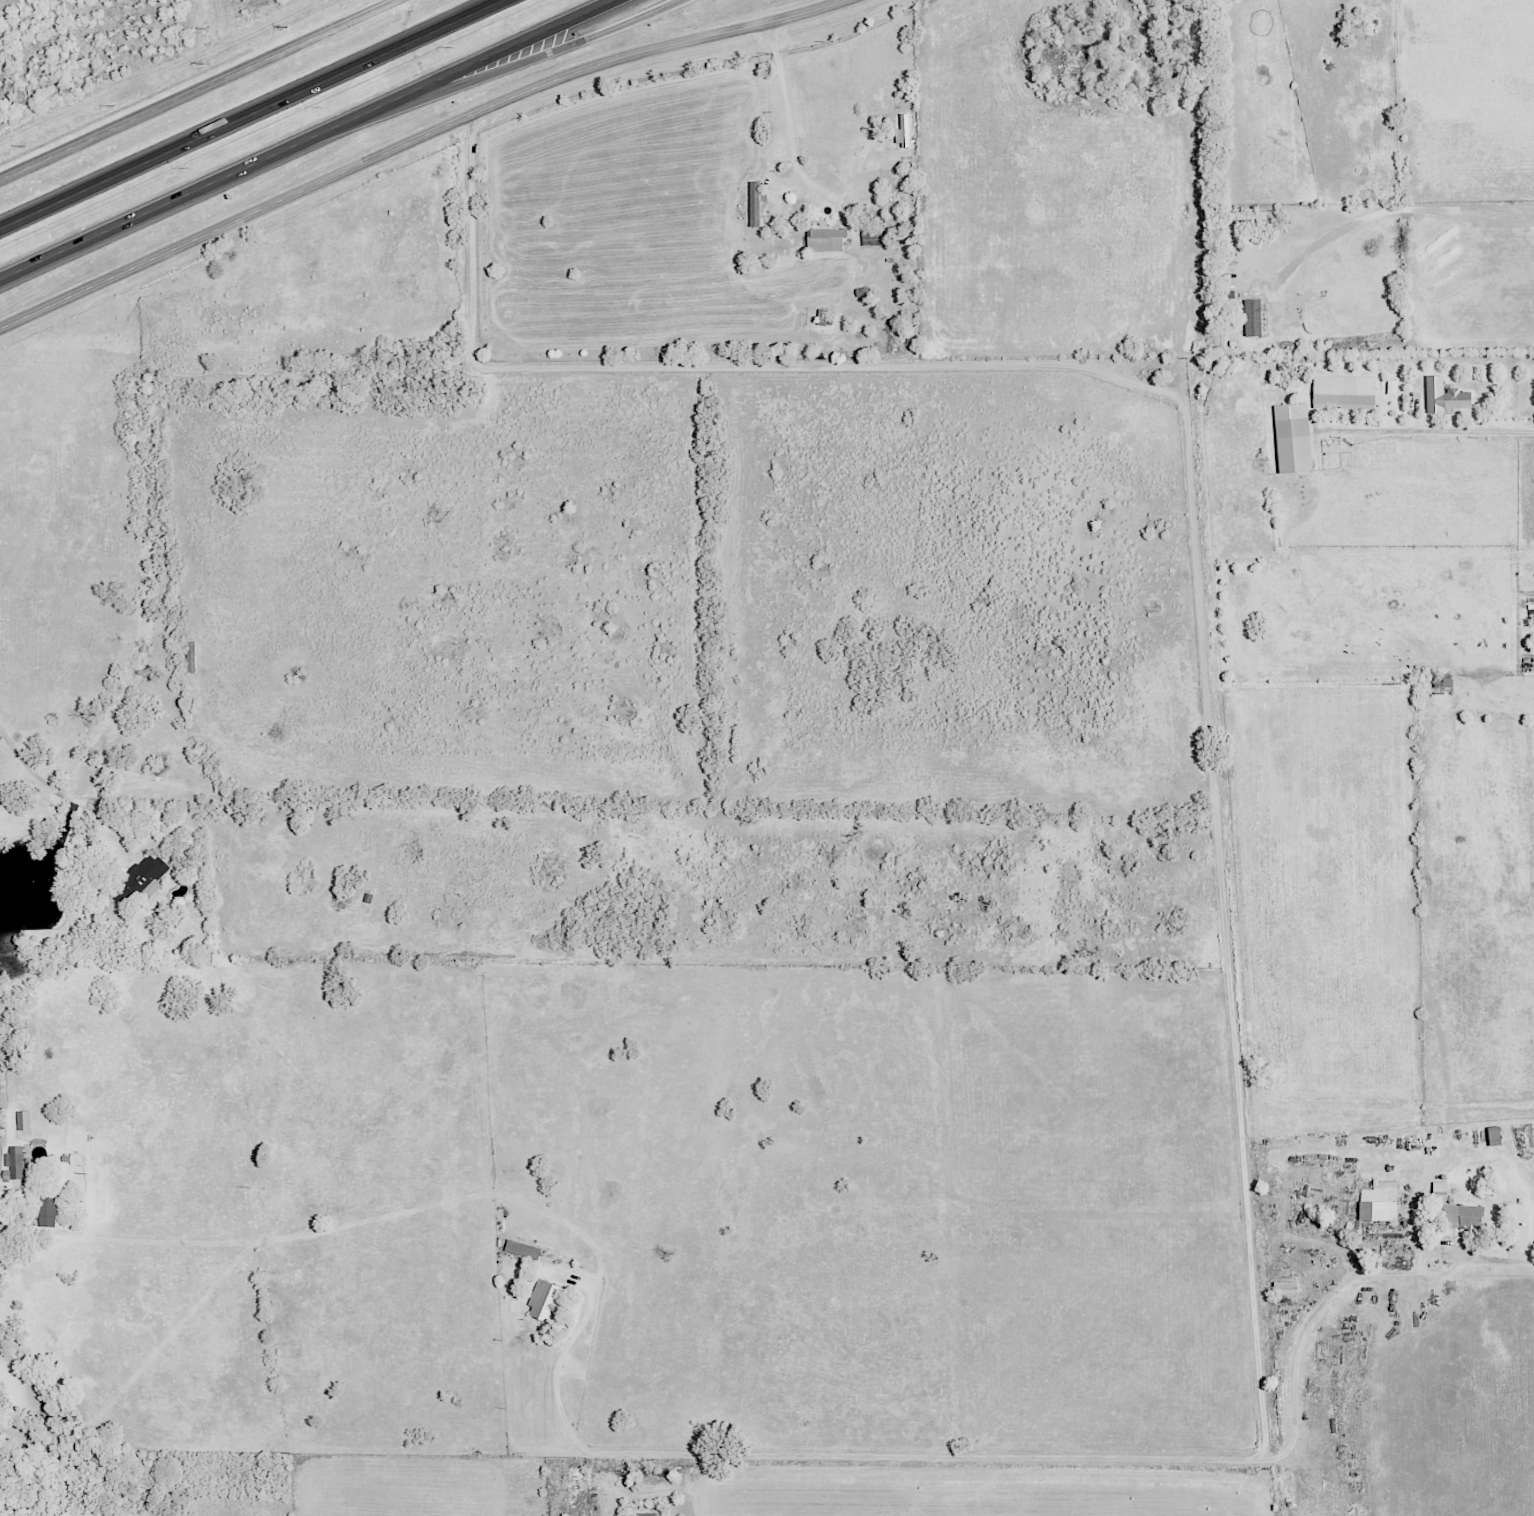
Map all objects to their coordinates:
road: (456, 71)
road: (485, 72)
road: (200, 90)
road: (242, 110)
road: (788, 122)
building: (902, 130)
road: (420, 142)
building: (754, 202)
road: (149, 211)
road: (1385, 212)
building: (870, 236)
building: (825, 239)
building: (1253, 317)
building: (1391, 386)
building: (1343, 392)
building: (1444, 395)
road: (1438, 432)
building: (1292, 437)
road: (1189, 453)
road: (35, 777)
building: (145, 874)
building: (23, 1120)
building: (75, 1158)
building: (15, 1161)
building: (1439, 1191)
road: (4, 1201)
building: (1378, 1201)
building: (47, 1212)
building: (1462, 1215)
building: (522, 1249)
building: (544, 1300)
road: (1016, 1461)
building: (647, 1514)

